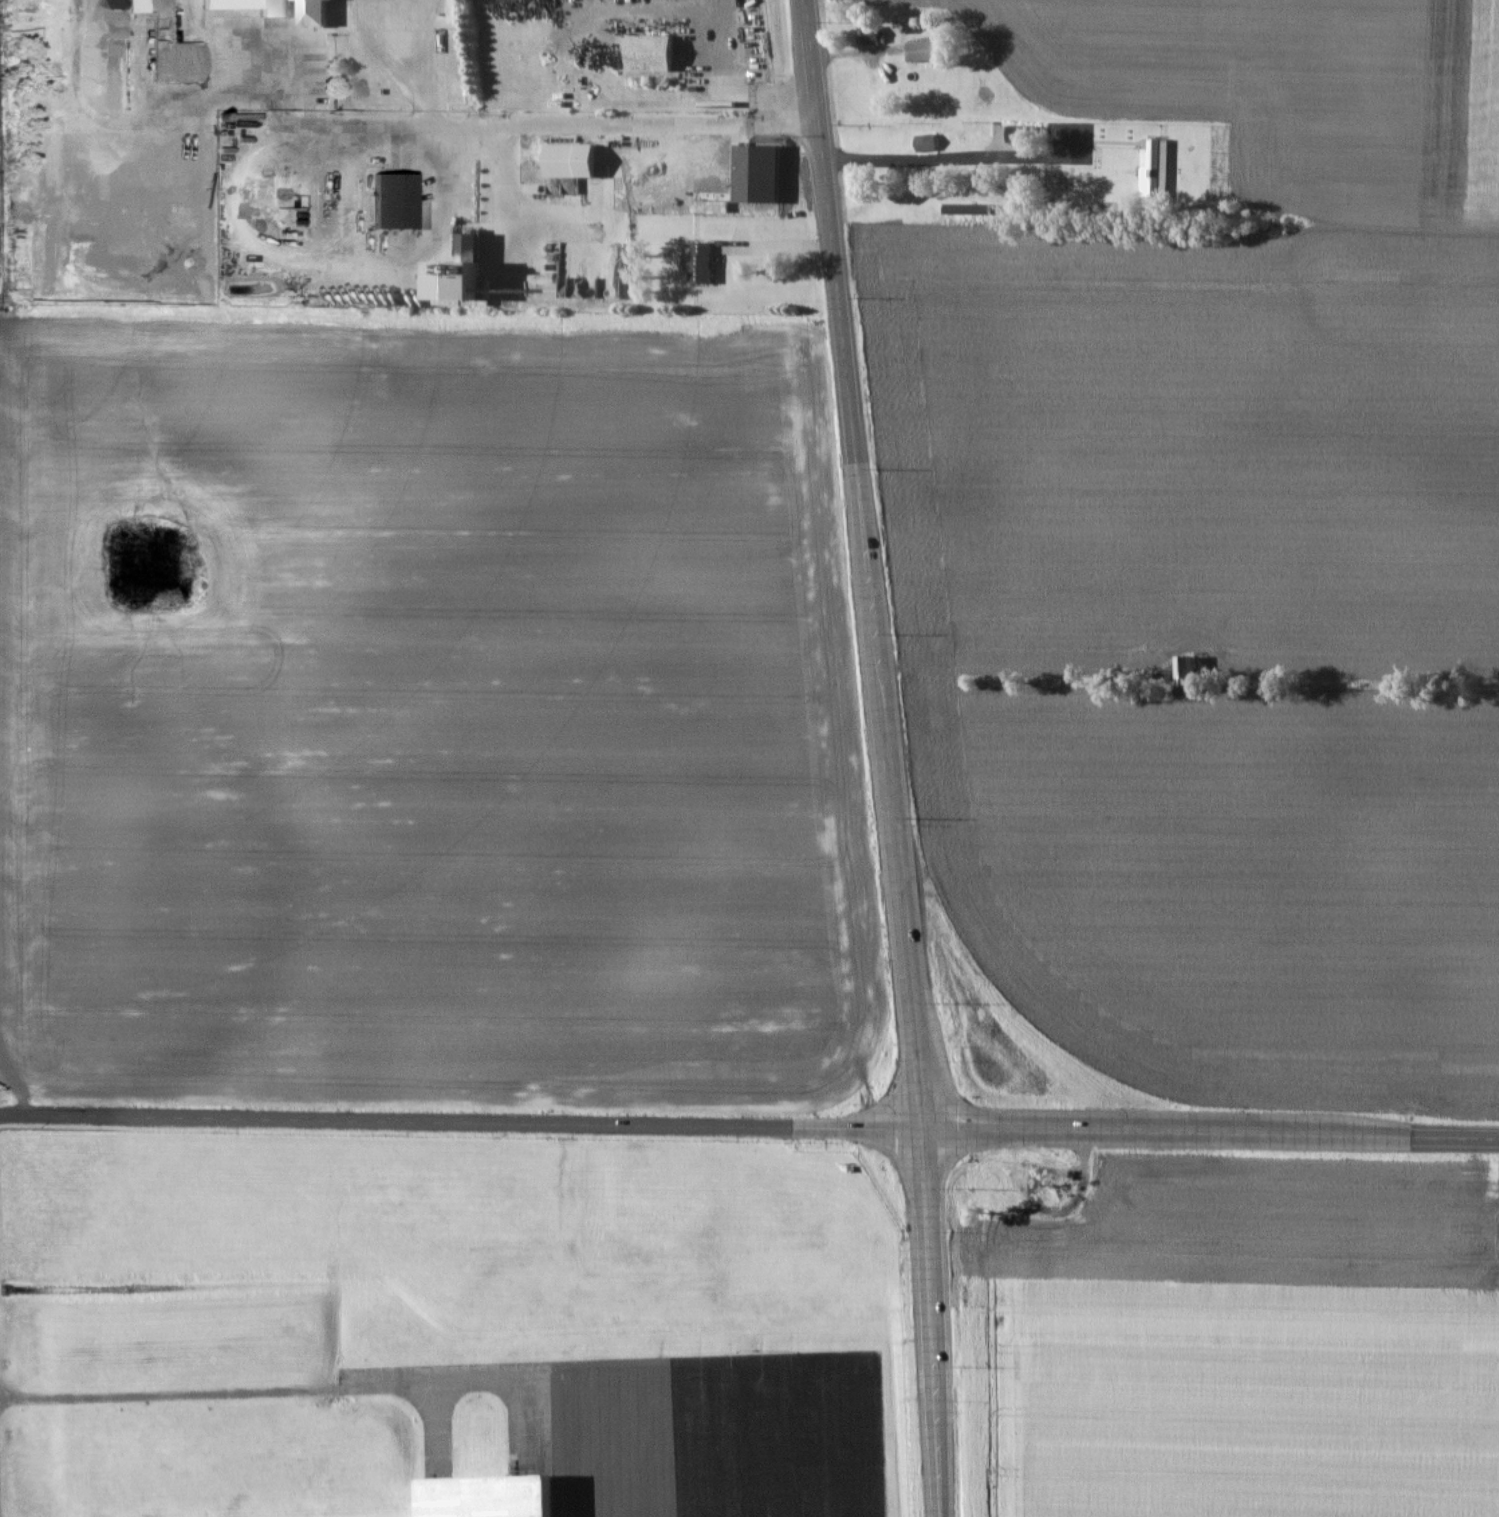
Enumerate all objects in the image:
building: (256, 6)
building: (872, 35)
building: (930, 51)
building: (657, 53)
road: (549, 124)
building: (927, 143)
road: (950, 157)
building: (578, 192)
building: (398, 202)
road: (779, 243)
building: (707, 279)
building: (24, 284)
road: (867, 564)
road: (463, 1121)
road: (1213, 1133)
road: (935, 1322)
road: (310, 1388)
road: (622, 1449)
building: (498, 1496)

